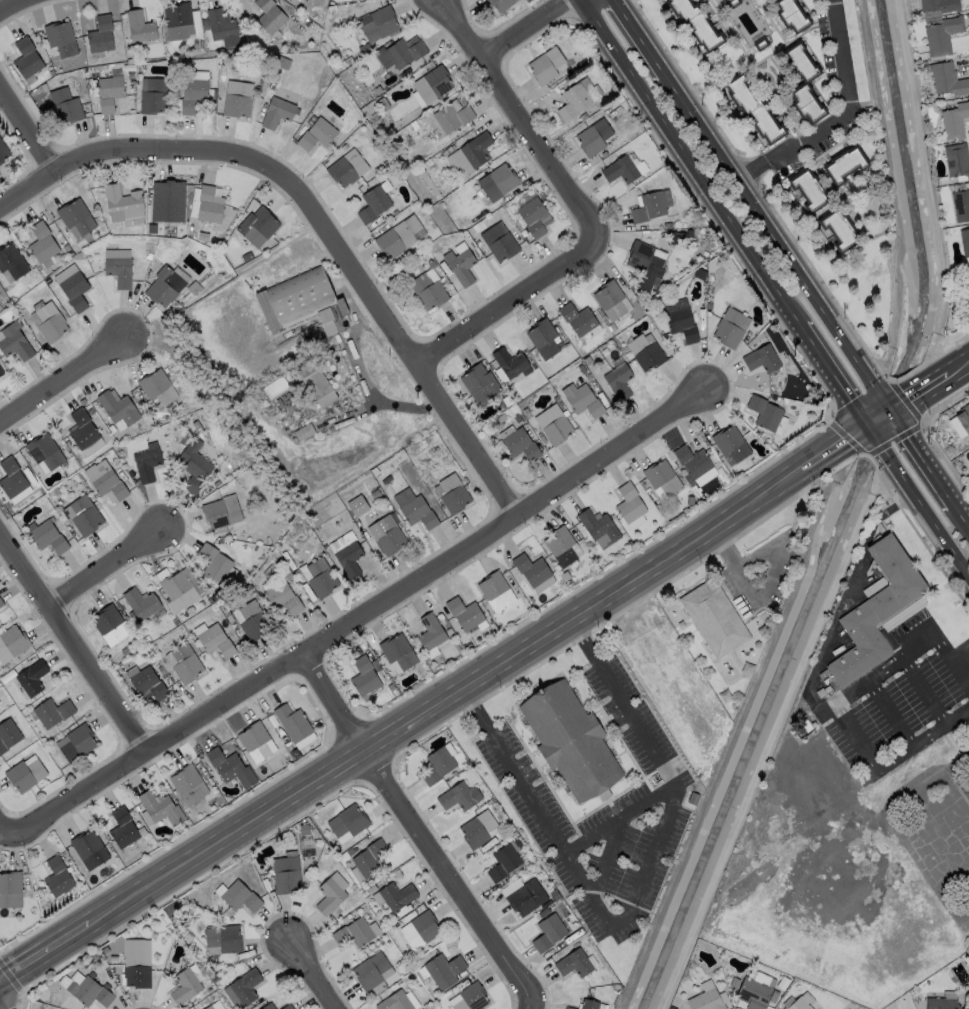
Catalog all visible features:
building: (501, 2)
building: (733, 3)
building: (941, 6)
road: (16, 9)
building: (795, 14)
building: (270, 17)
building: (381, 18)
building: (306, 21)
building: (180, 23)
building: (695, 24)
building: (140, 28)
road: (523, 28)
building: (222, 29)
building: (102, 35)
road: (642, 35)
building: (943, 36)
building: (62, 42)
building: (762, 45)
building: (403, 47)
building: (856, 51)
building: (30, 59)
building: (352, 60)
building: (130, 62)
building: (283, 63)
building: (804, 63)
building: (545, 67)
building: (52, 74)
building: (433, 78)
building: (948, 80)
building: (259, 89)
building: (152, 91)
building: (109, 92)
building: (193, 94)
building: (239, 95)
building: (580, 97)
building: (930, 100)
building: (811, 103)
building: (385, 105)
building: (65, 107)
building: (280, 108)
building: (757, 110)
building: (451, 111)
road: (843, 116)
building: (584, 117)
building: (955, 122)
building: (413, 126)
road: (27, 128)
building: (318, 130)
building: (404, 132)
building: (597, 137)
building: (471, 150)
building: (4, 152)
building: (958, 160)
building: (348, 163)
building: (387, 164)
road: (690, 164)
building: (849, 166)
building: (627, 169)
building: (378, 170)
building: (499, 180)
building: (942, 180)
building: (811, 191)
building: (374, 199)
building: (168, 204)
building: (209, 205)
building: (443, 205)
building: (961, 205)
building: (122, 207)
building: (650, 209)
road: (578, 210)
building: (535, 211)
building: (396, 213)
building: (78, 220)
road: (318, 220)
road: (771, 222)
building: (668, 226)
building: (262, 227)
building: (181, 230)
building: (840, 231)
building: (401, 232)
building: (189, 235)
building: (691, 235)
building: (501, 236)
building: (204, 237)
building: (965, 242)
building: (44, 244)
building: (71, 254)
building: (150, 257)
building: (248, 257)
building: (647, 261)
building: (13, 264)
building: (432, 265)
building: (462, 265)
building: (120, 270)
building: (968, 285)
building: (73, 288)
building: (166, 289)
building: (430, 291)
building: (453, 292)
building: (0, 295)
building: (613, 303)
building: (22, 306)
building: (306, 306)
building: (709, 306)
building: (581, 321)
building: (683, 322)
building: (50, 324)
building: (614, 328)
building: (732, 330)
building: (608, 336)
building: (546, 341)
building: (16, 344)
building: (645, 353)
building: (588, 361)
building: (764, 361)
building: (511, 364)
road: (958, 366)
building: (2, 369)
building: (1, 375)
road: (828, 377)
building: (590, 380)
road: (61, 382)
building: (619, 384)
building: (482, 385)
building: (159, 388)
road: (921, 388)
road: (885, 389)
building: (322, 392)
building: (557, 399)
building: (583, 399)
building: (508, 401)
building: (83, 402)
building: (281, 404)
building: (92, 411)
building: (121, 411)
building: (527, 412)
building: (767, 414)
road: (878, 415)
building: (518, 418)
building: (964, 418)
building: (502, 419)
building: (556, 426)
road: (855, 430)
building: (305, 432)
building: (87, 434)
road: (872, 442)
building: (521, 446)
building: (735, 448)
road: (826, 449)
road: (927, 450)
building: (118, 452)
building: (47, 454)
building: (147, 463)
building: (693, 464)
building: (117, 467)
building: (194, 469)
building: (31, 478)
building: (13, 479)
building: (77, 479)
building: (107, 481)
building: (663, 481)
building: (70, 488)
building: (40, 489)
building: (453, 495)
building: (357, 505)
road: (964, 505)
building: (633, 507)
building: (418, 513)
building: (223, 514)
building: (86, 517)
road: (926, 520)
building: (601, 530)
building: (388, 536)
building: (48, 538)
building: (564, 549)
building: (347, 556)
building: (219, 566)
road: (107, 569)
building: (534, 574)
building: (320, 580)
building: (182, 592)
building: (497, 594)
road: (766, 595)
building: (282, 600)
building: (1, 605)
building: (144, 607)
building: (880, 612)
road: (358, 614)
building: (466, 617)
building: (718, 620)
building: (253, 624)
building: (113, 628)
building: (433, 638)
road: (74, 640)
building: (217, 642)
building: (12, 646)
building: (398, 656)
building: (186, 665)
parking lot: (664, 677)
building: (30, 682)
building: (367, 682)
building: (150, 684)
road: (447, 696)
road: (838, 710)
building: (54, 716)
building: (294, 725)
building: (10, 736)
building: (572, 743)
building: (81, 744)
building: (257, 744)
building: (436, 765)
building: (230, 768)
building: (22, 780)
building: (190, 786)
building: (457, 796)
building: (162, 811)
road: (619, 819)
building: (347, 821)
building: (125, 829)
road: (419, 829)
building: (476, 829)
road: (3, 835)
building: (93, 852)
building: (369, 858)
road: (607, 858)
building: (503, 862)
building: (285, 875)
building: (59, 877)
building: (10, 892)
building: (328, 896)
building: (396, 896)
building: (239, 897)
road: (636, 898)
building: (525, 899)
building: (424, 926)
building: (547, 932)
building: (352, 933)
building: (223, 939)
road: (45, 952)
building: (135, 963)
building: (573, 963)
building: (443, 970)
road: (317, 971)
building: (369, 971)
building: (184, 987)
building: (241, 989)
building: (88, 991)
building: (752, 994)
building: (472, 996)
building: (703, 1001)
building: (394, 1002)
building: (939, 1003)
building: (587, 1004)
building: (797, 1004)
road: (1, 1007)
building: (207, 1007)
building: (266, 1007)
building: (286, 1007)
building: (567, 1008)
building: (782, 1008)

